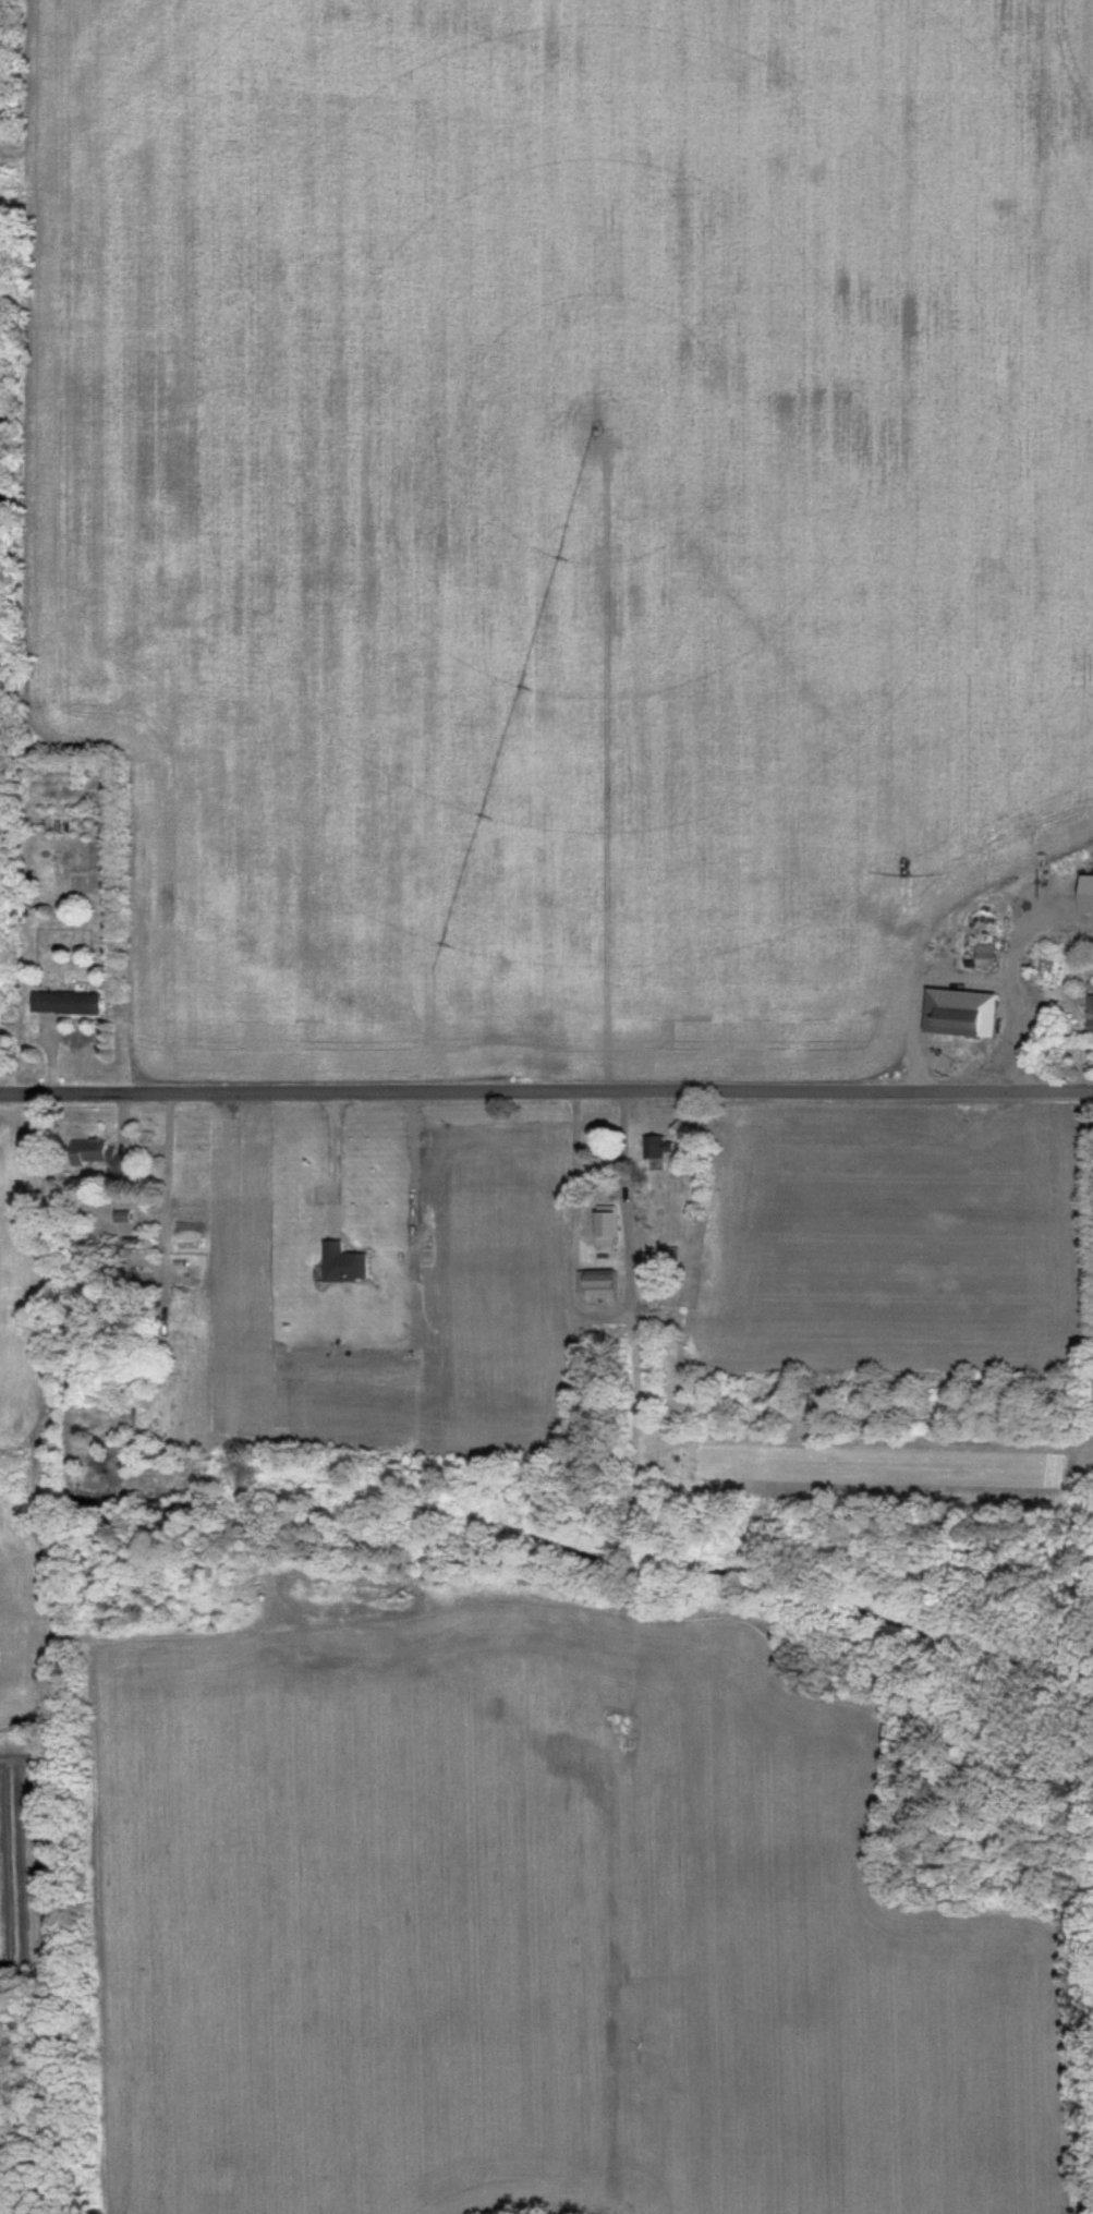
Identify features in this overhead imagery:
building: (71, 1003)
building: (979, 1020)
road: (546, 1096)
building: (660, 1148)
road: (335, 1158)
building: (126, 1166)
building: (611, 1224)
building: (602, 1284)

